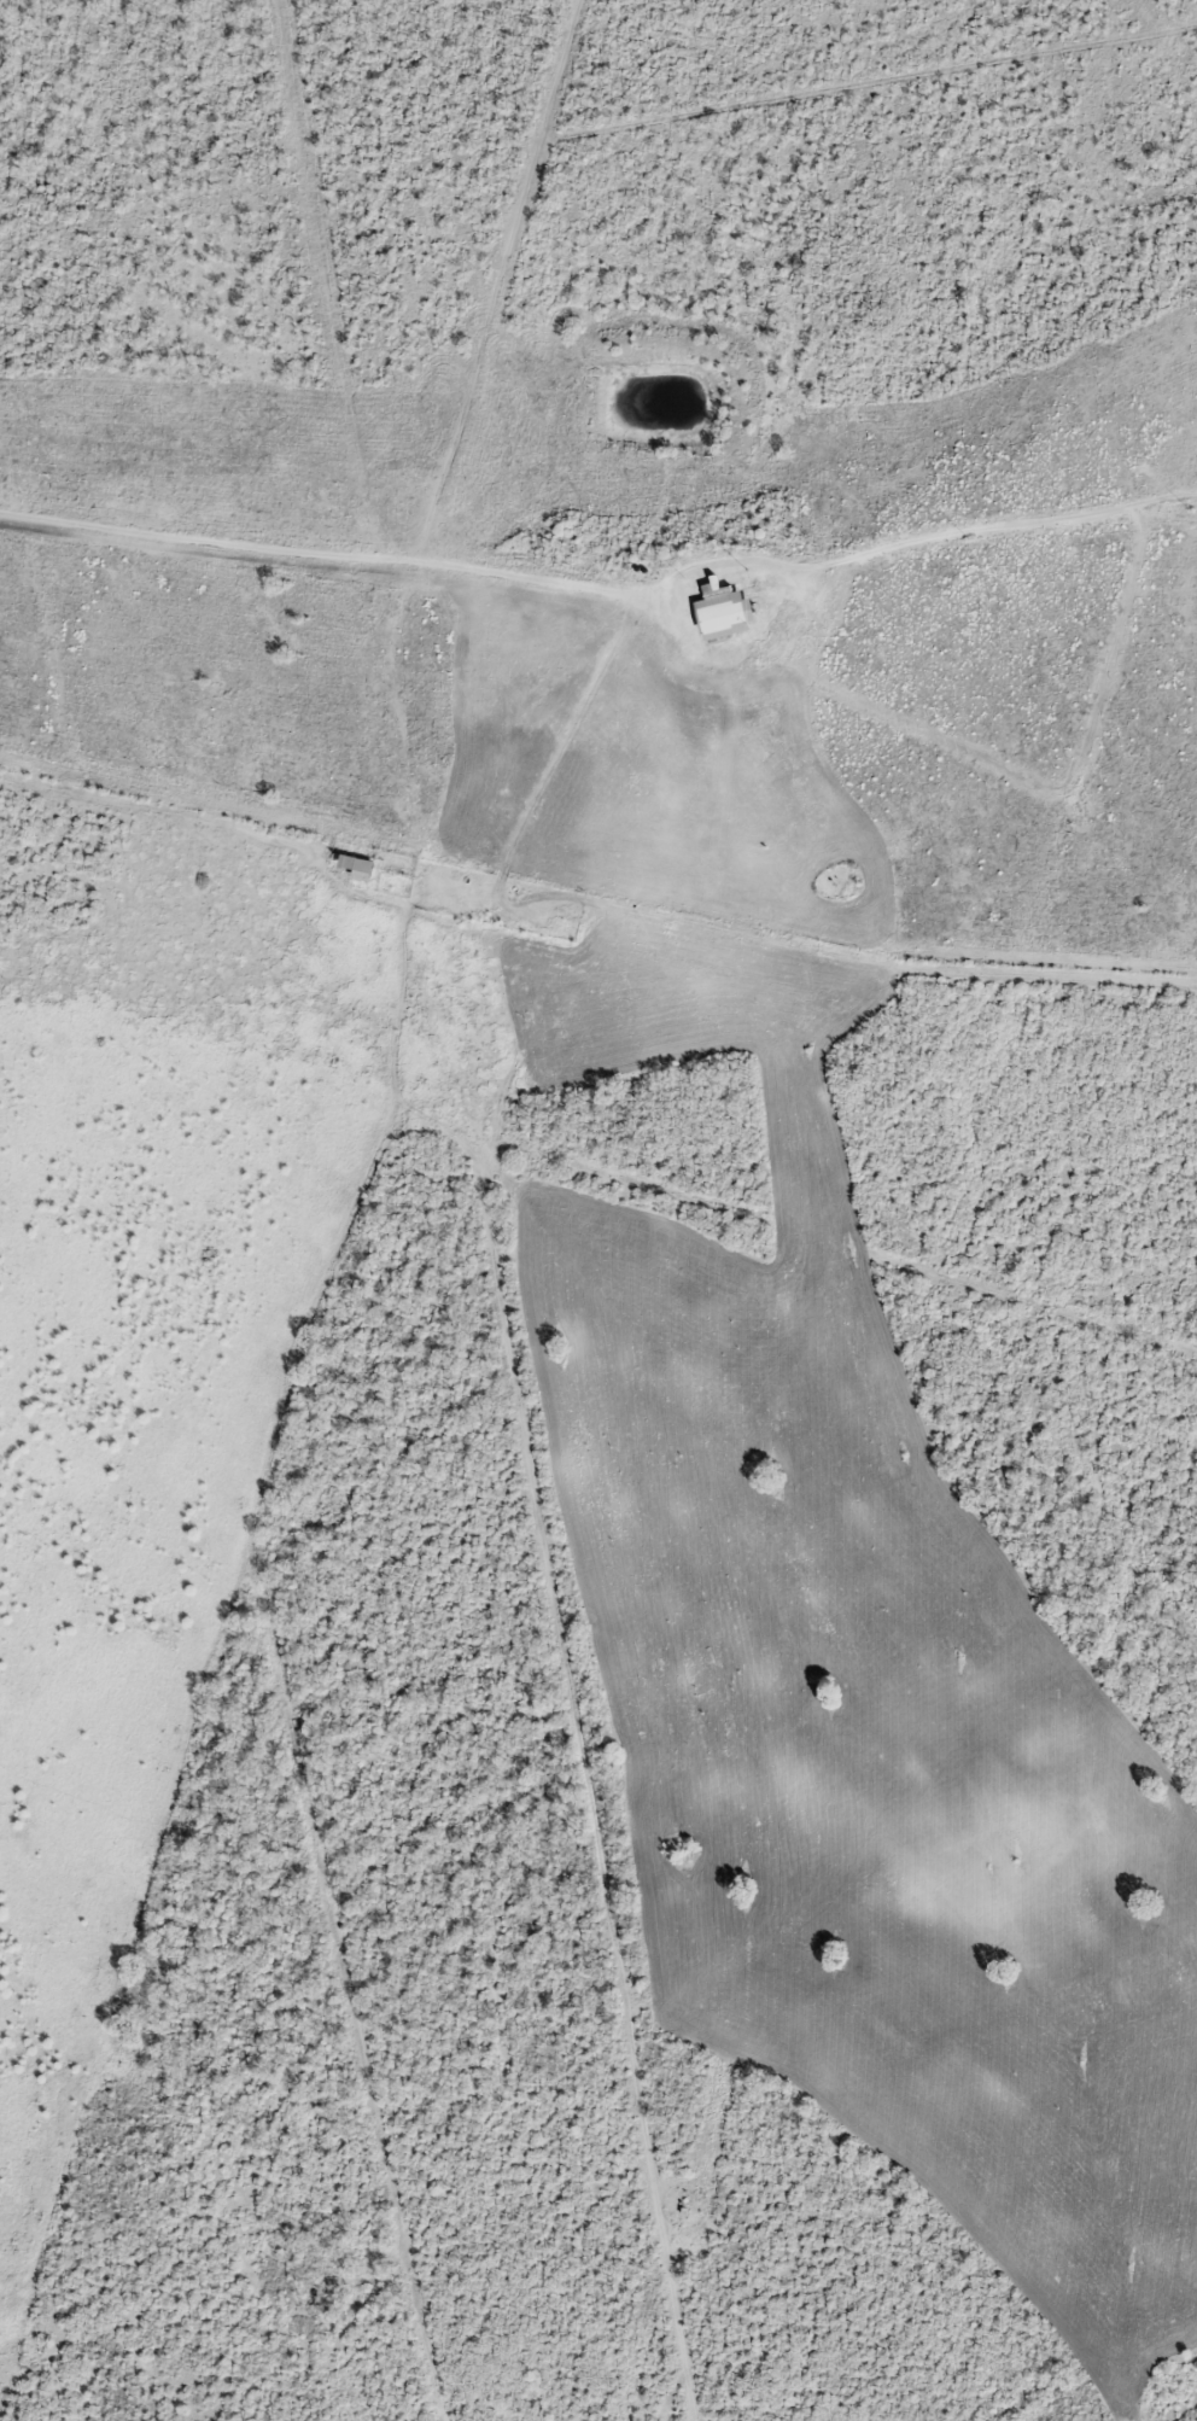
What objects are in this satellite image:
building: (716, 613)
building: (350, 864)

